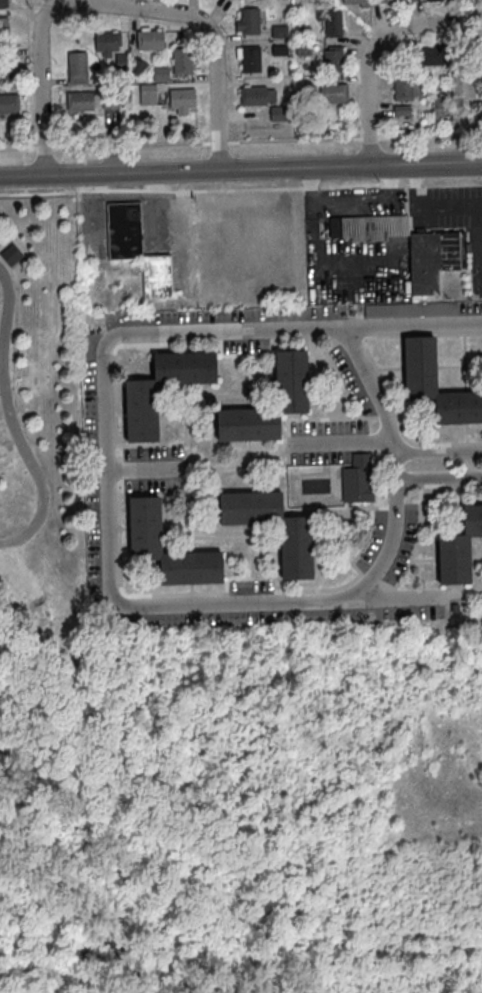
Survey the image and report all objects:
building: (391, 0)
building: (356, 1)
building: (4, 4)
road: (118, 6)
building: (248, 22)
building: (333, 25)
building: (4, 31)
building: (279, 31)
building: (151, 41)
building: (109, 42)
road: (373, 47)
building: (303, 48)
building: (279, 49)
building: (431, 54)
building: (248, 58)
building: (181, 60)
building: (334, 60)
building: (137, 66)
building: (5, 69)
building: (78, 69)
building: (161, 72)
building: (463, 86)
building: (409, 88)
building: (147, 93)
building: (257, 94)
building: (334, 94)
building: (183, 99)
building: (81, 102)
building: (9, 104)
building: (402, 109)
building: (278, 112)
road: (430, 135)
road: (369, 137)
road: (295, 141)
road: (220, 144)
road: (132, 146)
road: (45, 148)
road: (18, 149)
road: (435, 165)
road: (193, 172)
road: (351, 201)
building: (136, 247)
building: (10, 253)
building: (437, 254)
road: (407, 326)
road: (158, 331)
building: (291, 379)
building: (436, 384)
building: (141, 414)
road: (12, 422)
park: (43, 436)
road: (339, 439)
road: (438, 451)
road: (142, 469)
road: (439, 475)
building: (357, 478)
building: (144, 522)
building: (458, 548)
building: (295, 550)
road: (395, 598)
road: (315, 603)
park: (245, 812)

